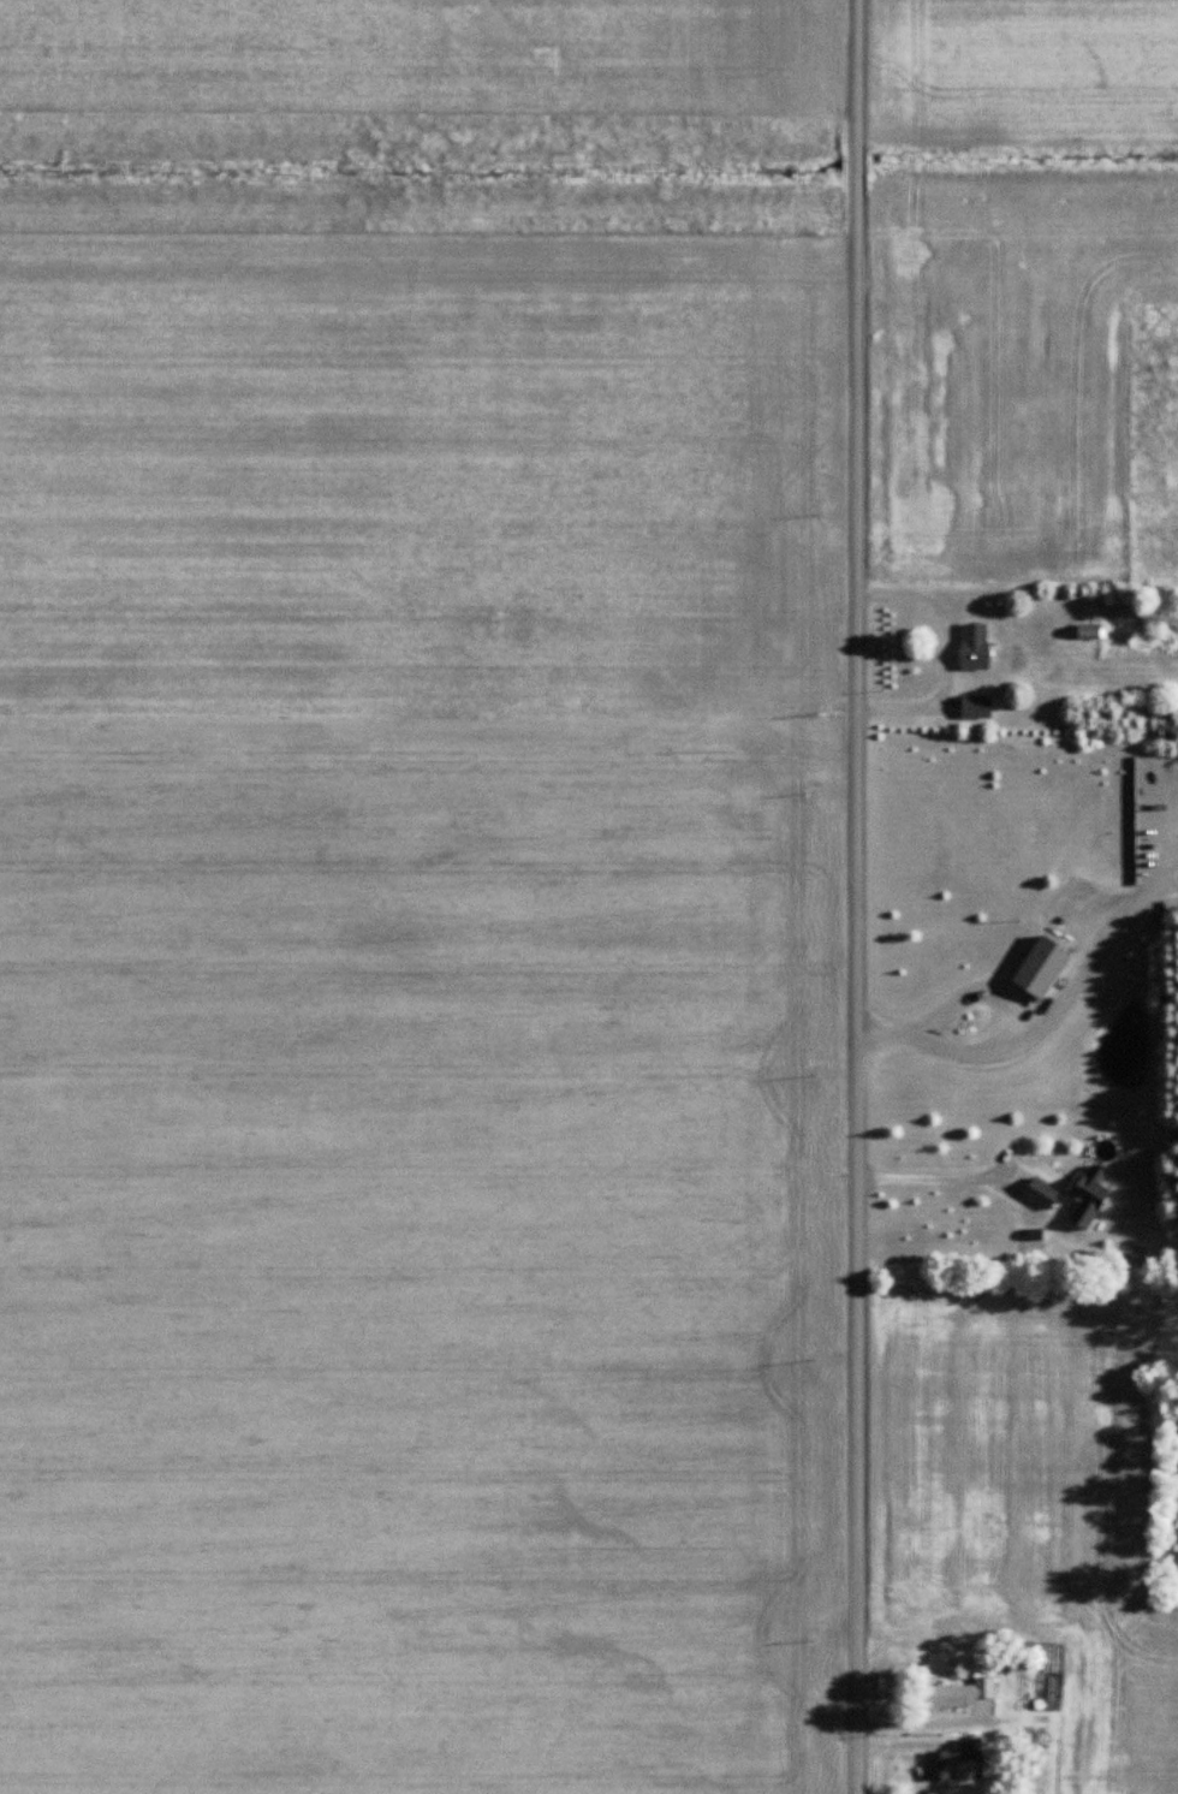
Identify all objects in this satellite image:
building: (1090, 634)
building: (974, 647)
road: (947, 651)
building: (975, 707)
road: (855, 897)
road: (1023, 1039)
road: (930, 1180)
building: (1040, 1194)
building: (1088, 1198)
building: (959, 1697)
building: (952, 1760)

